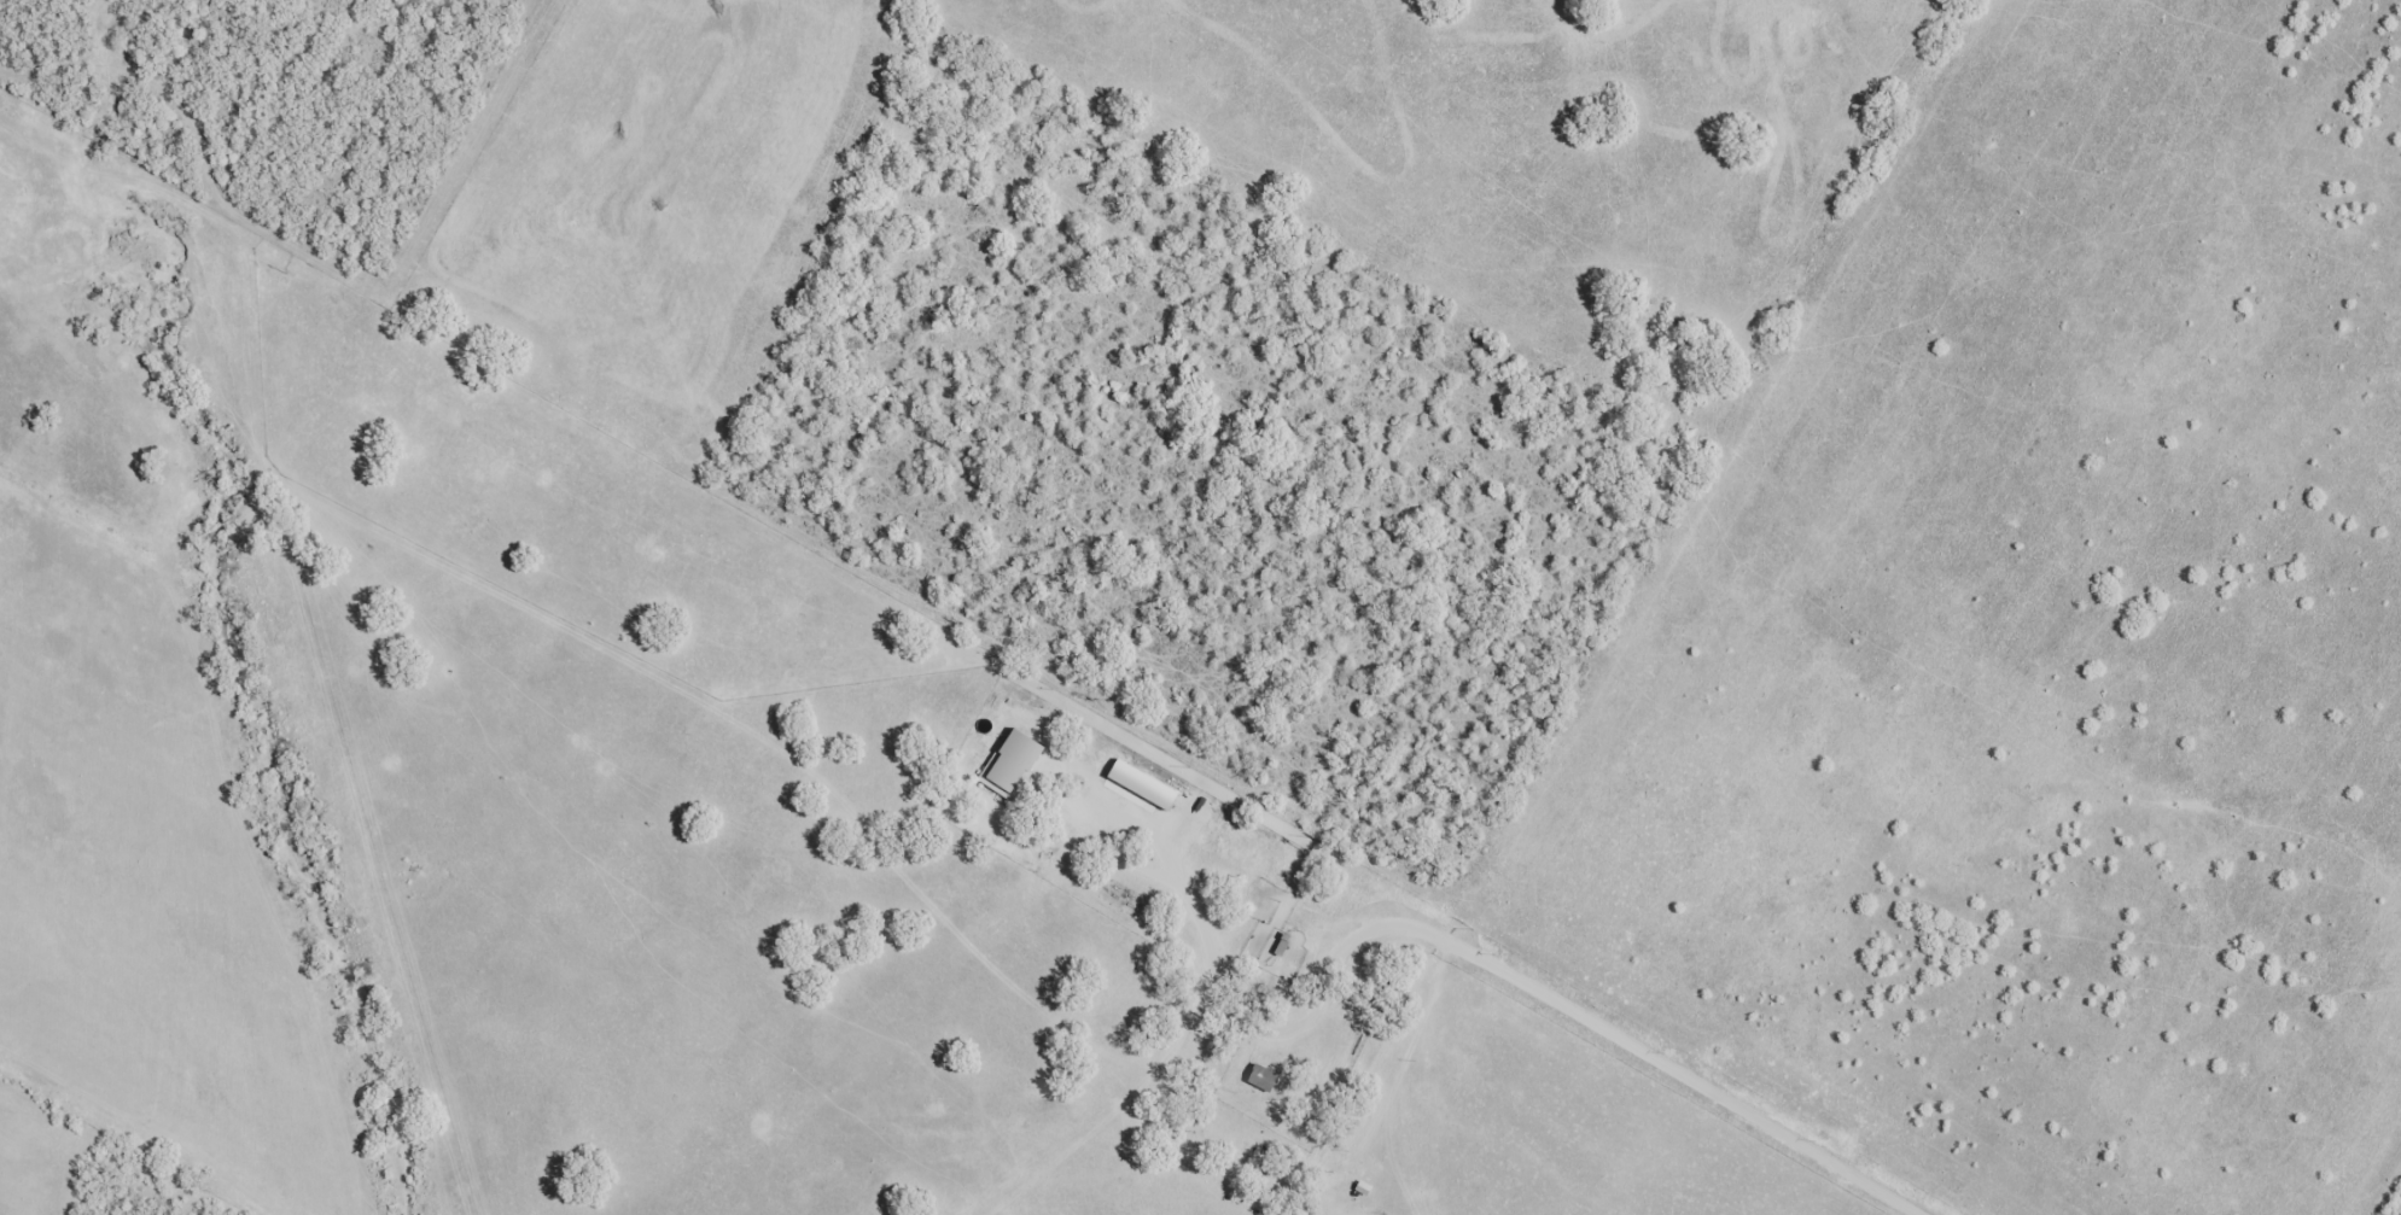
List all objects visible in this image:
building: (1003, 757)
building: (1135, 783)
road: (1468, 953)
road: (1410, 1047)

